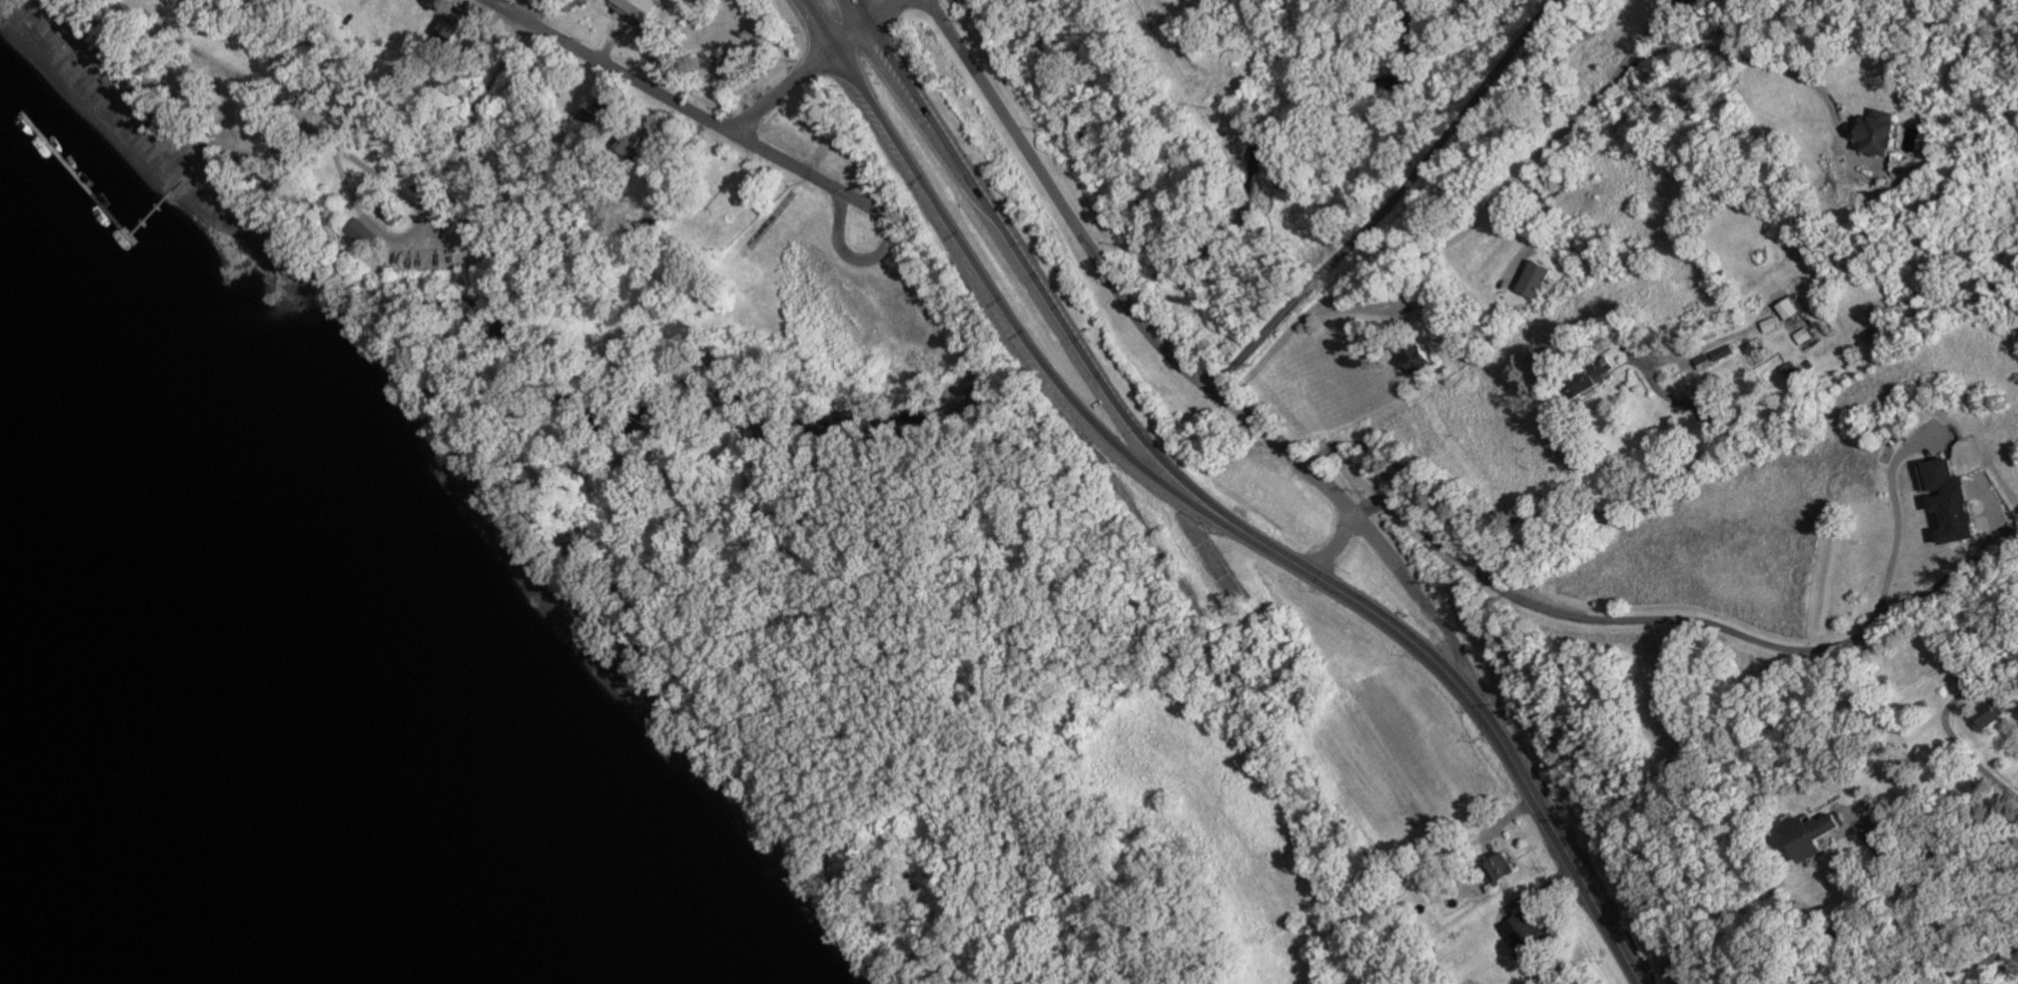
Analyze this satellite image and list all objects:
building: (637, 8)
park: (1170, 10)
road: (857, 14)
road: (817, 26)
building: (449, 29)
road: (1642, 56)
road: (816, 66)
road: (227, 88)
road: (663, 95)
road: (917, 105)
building: (588, 117)
building: (1878, 132)
pier: (83, 200)
road: (1391, 203)
building: (360, 232)
road: (401, 238)
road: (881, 263)
road: (1111, 277)
building: (1533, 280)
road: (1329, 301)
building: (1787, 309)
building: (1768, 325)
building: (1802, 336)
road: (1033, 347)
building: (1722, 353)
building: (1416, 360)
building: (1704, 362)
building: (1790, 373)
building: (1589, 380)
road: (1113, 399)
building: (1948, 499)
road: (1553, 517)
road: (1896, 519)
road: (1332, 546)
road: (1392, 562)
road: (1701, 623)
road: (1459, 658)
building: (1987, 714)
road: (1503, 748)
road: (1970, 755)
building: (1809, 834)
building: (1499, 867)
road: (1915, 888)
building: (1524, 933)
road: (1966, 962)

